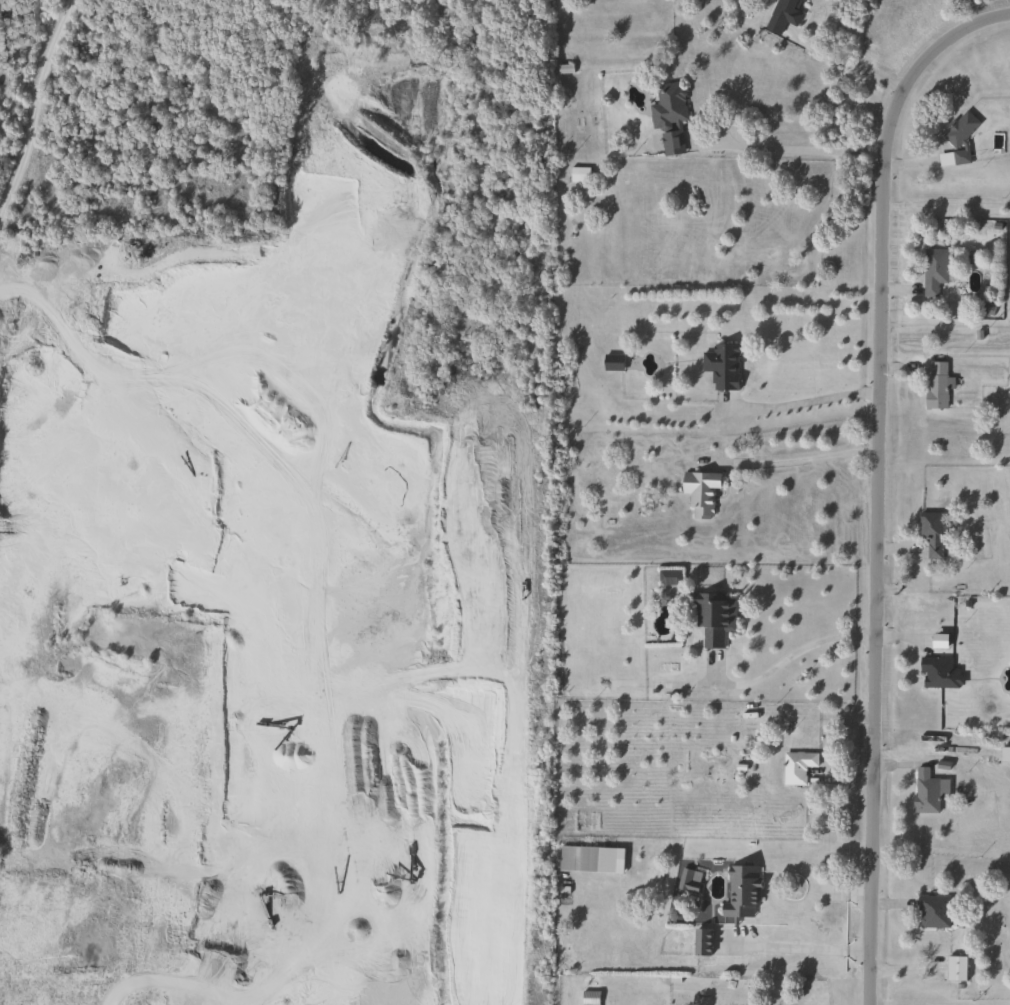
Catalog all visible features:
building: (786, 10)
road: (846, 64)
road: (35, 104)
building: (669, 116)
building: (959, 129)
road: (805, 150)
building: (577, 173)
building: (933, 269)
building: (611, 362)
building: (721, 366)
building: (936, 385)
road: (801, 402)
road: (794, 459)
road: (880, 479)
building: (700, 491)
building: (932, 532)
building: (668, 576)
building: (713, 617)
road: (790, 657)
building: (938, 673)
building: (1005, 754)
building: (797, 766)
building: (925, 791)
building: (585, 859)
building: (688, 880)
building: (741, 891)
building: (933, 912)
building: (701, 941)
building: (955, 968)
building: (589, 997)

